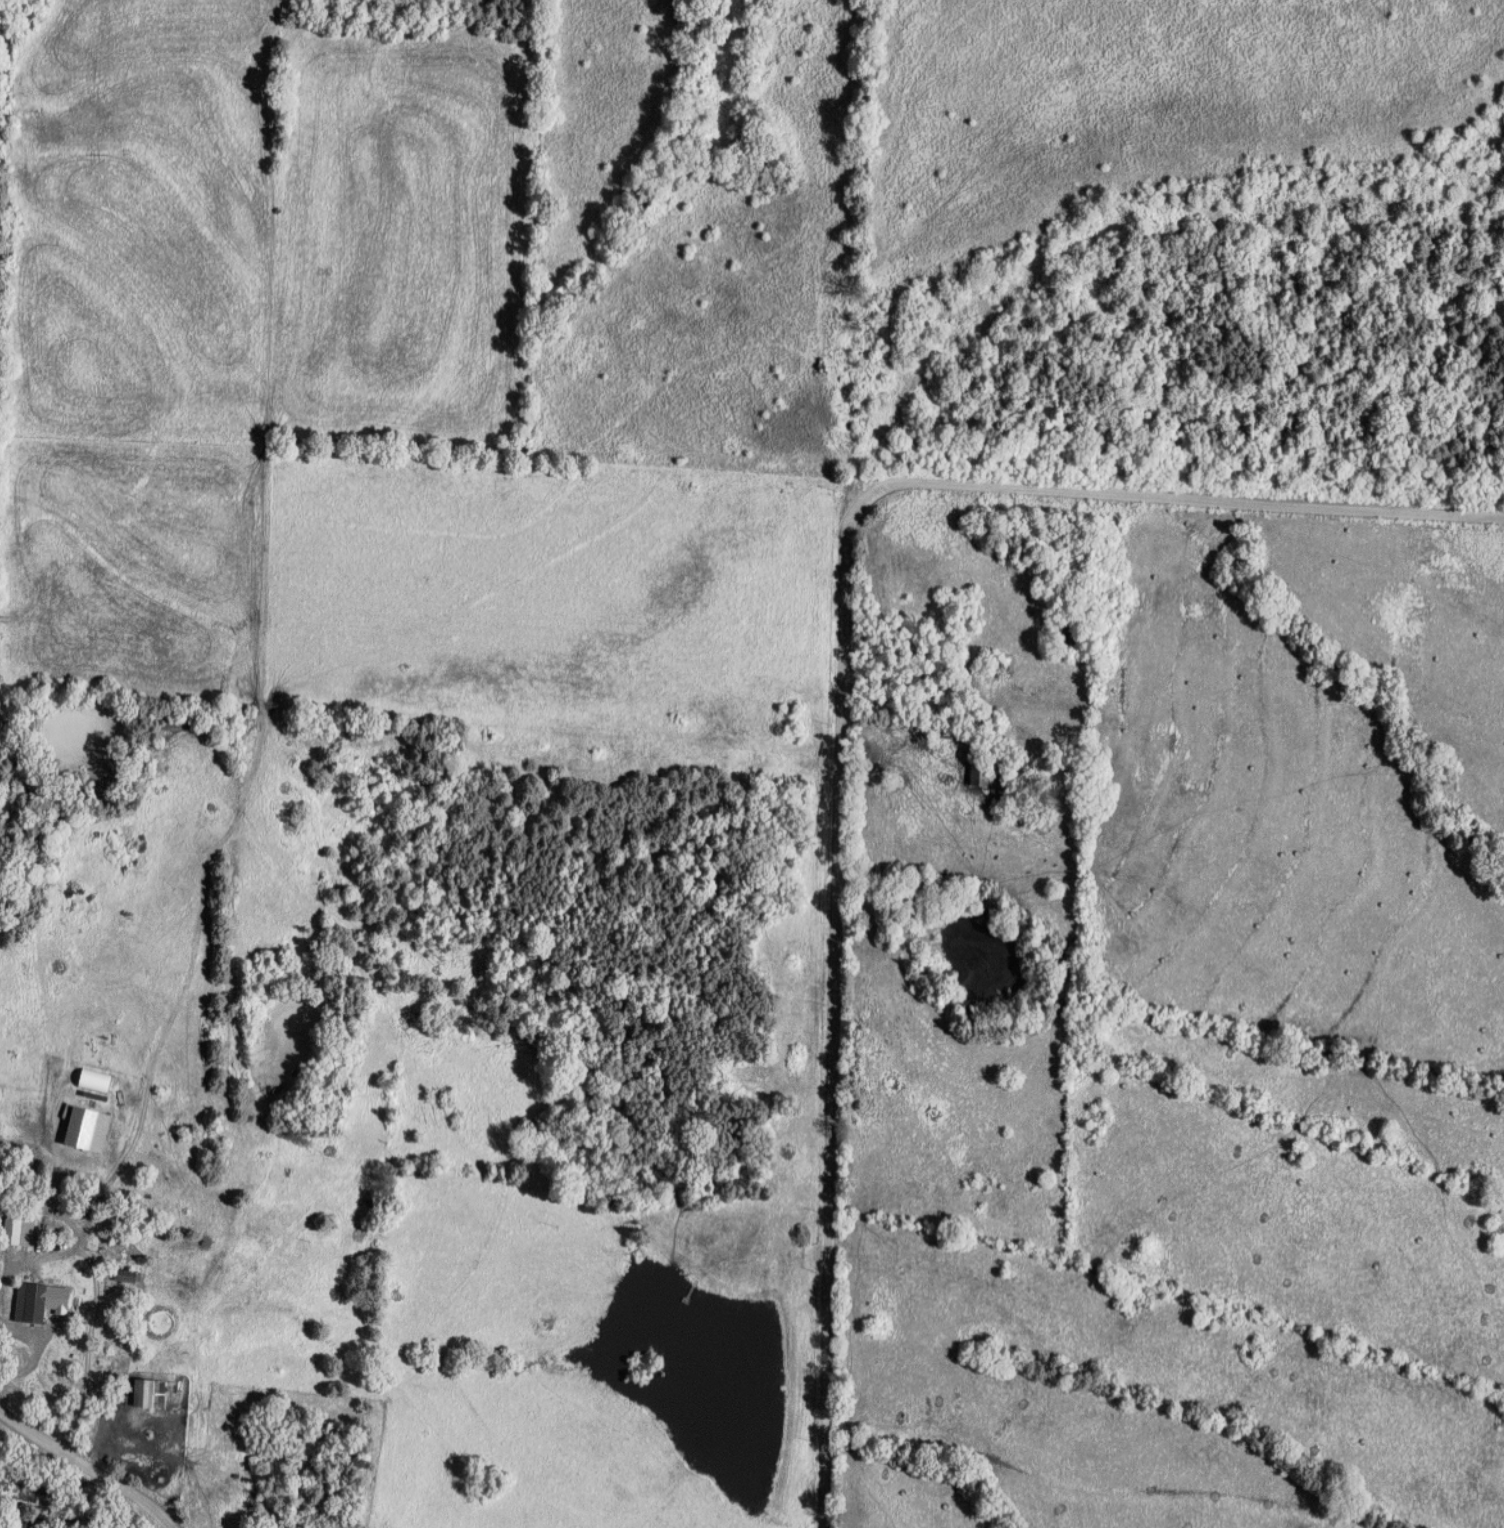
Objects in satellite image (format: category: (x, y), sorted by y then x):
road: (845, 687)
building: (983, 773)
building: (22, 1231)
building: (130, 1275)
building: (44, 1300)
road: (89, 1316)
building: (153, 1393)
road: (90, 1464)

